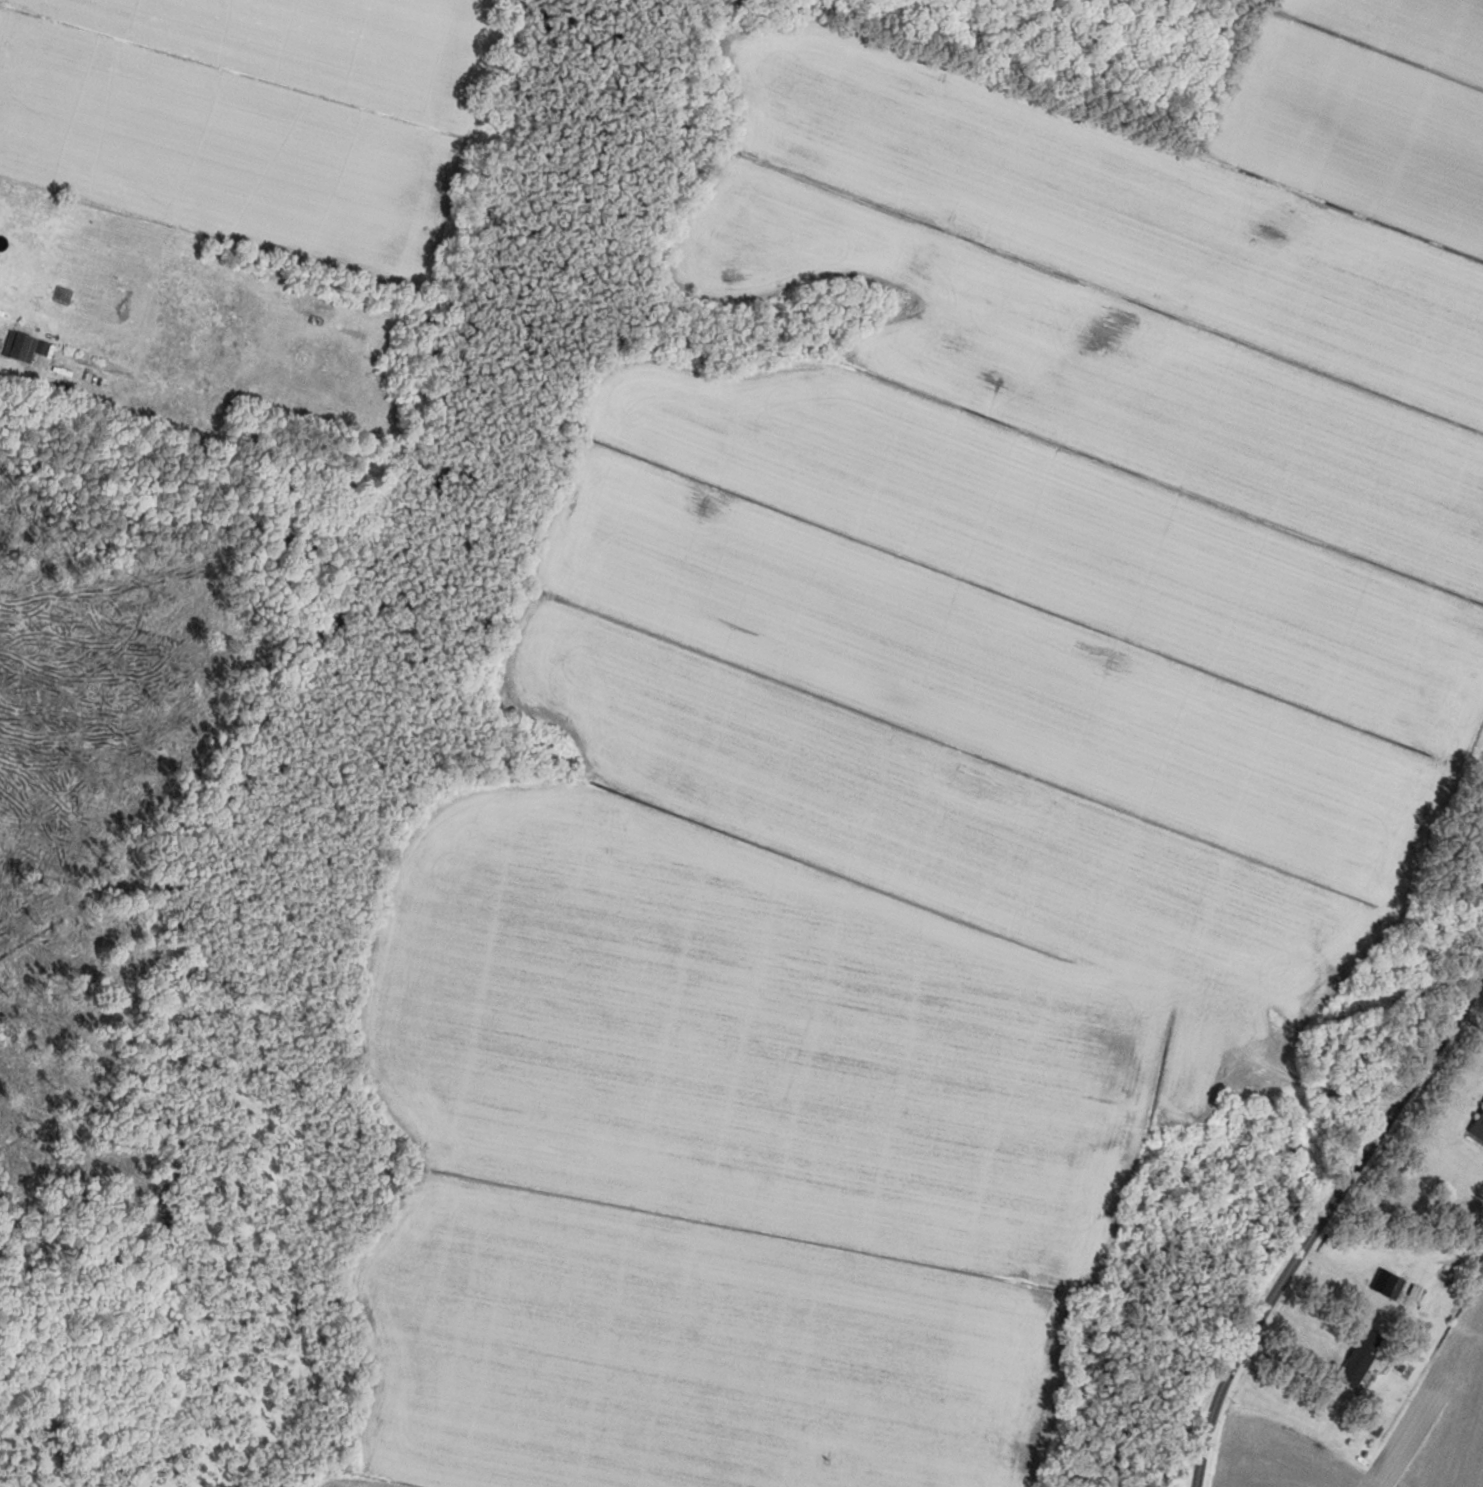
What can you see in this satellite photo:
building: (16, 197)
building: (1477, 1128)
road: (1318, 1221)
building: (1359, 1359)

